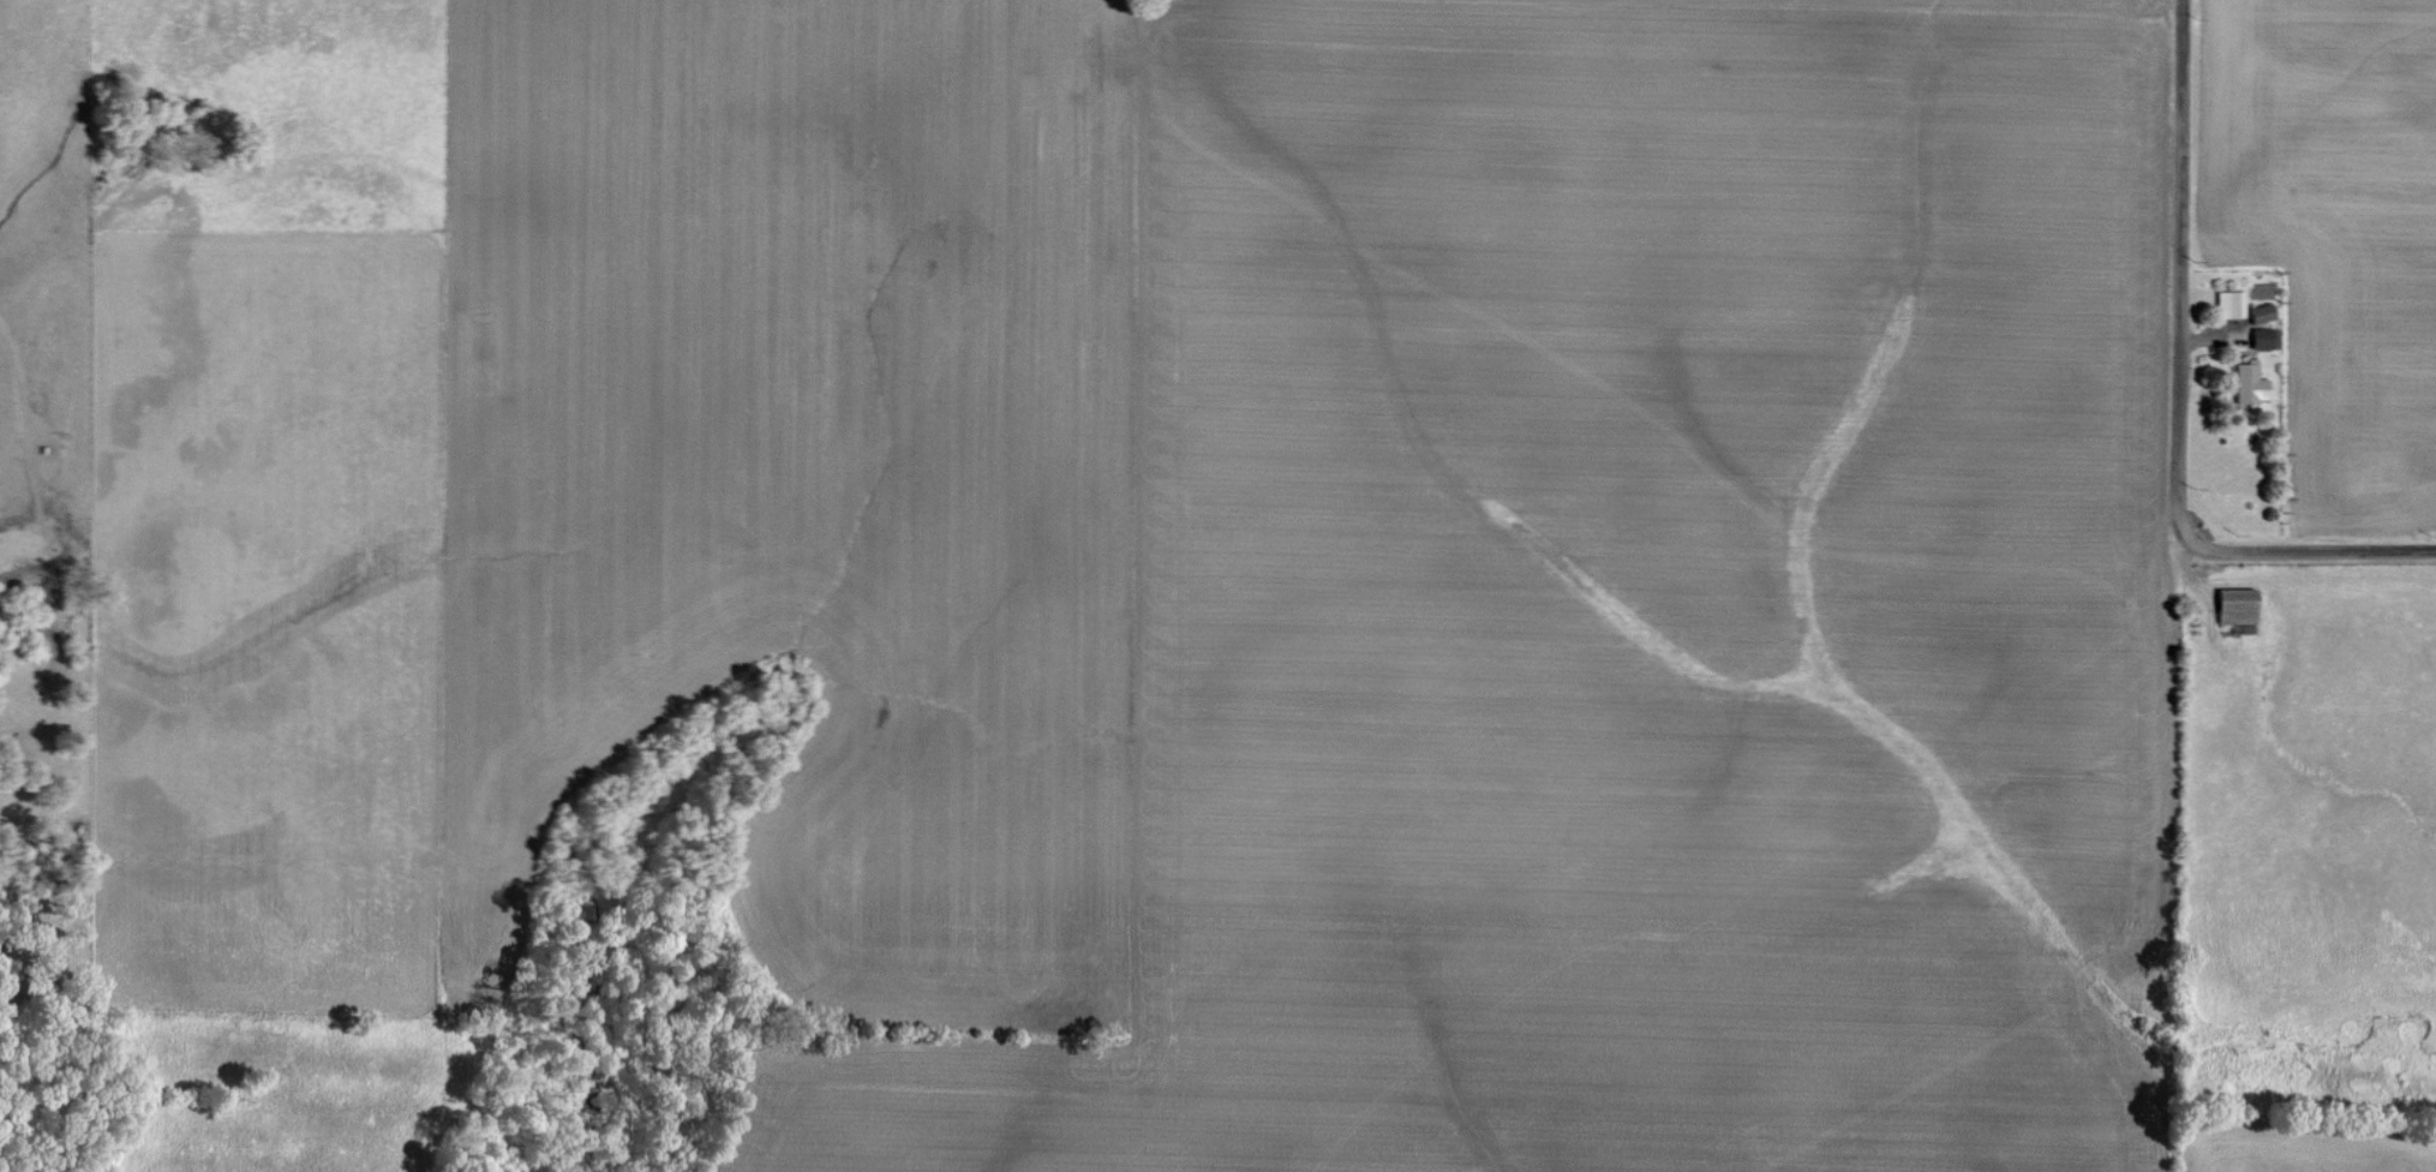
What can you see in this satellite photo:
road: (2175, 259)
building: (2227, 305)
building: (2257, 313)
building: (2261, 339)
building: (2245, 383)
road: (2300, 551)

